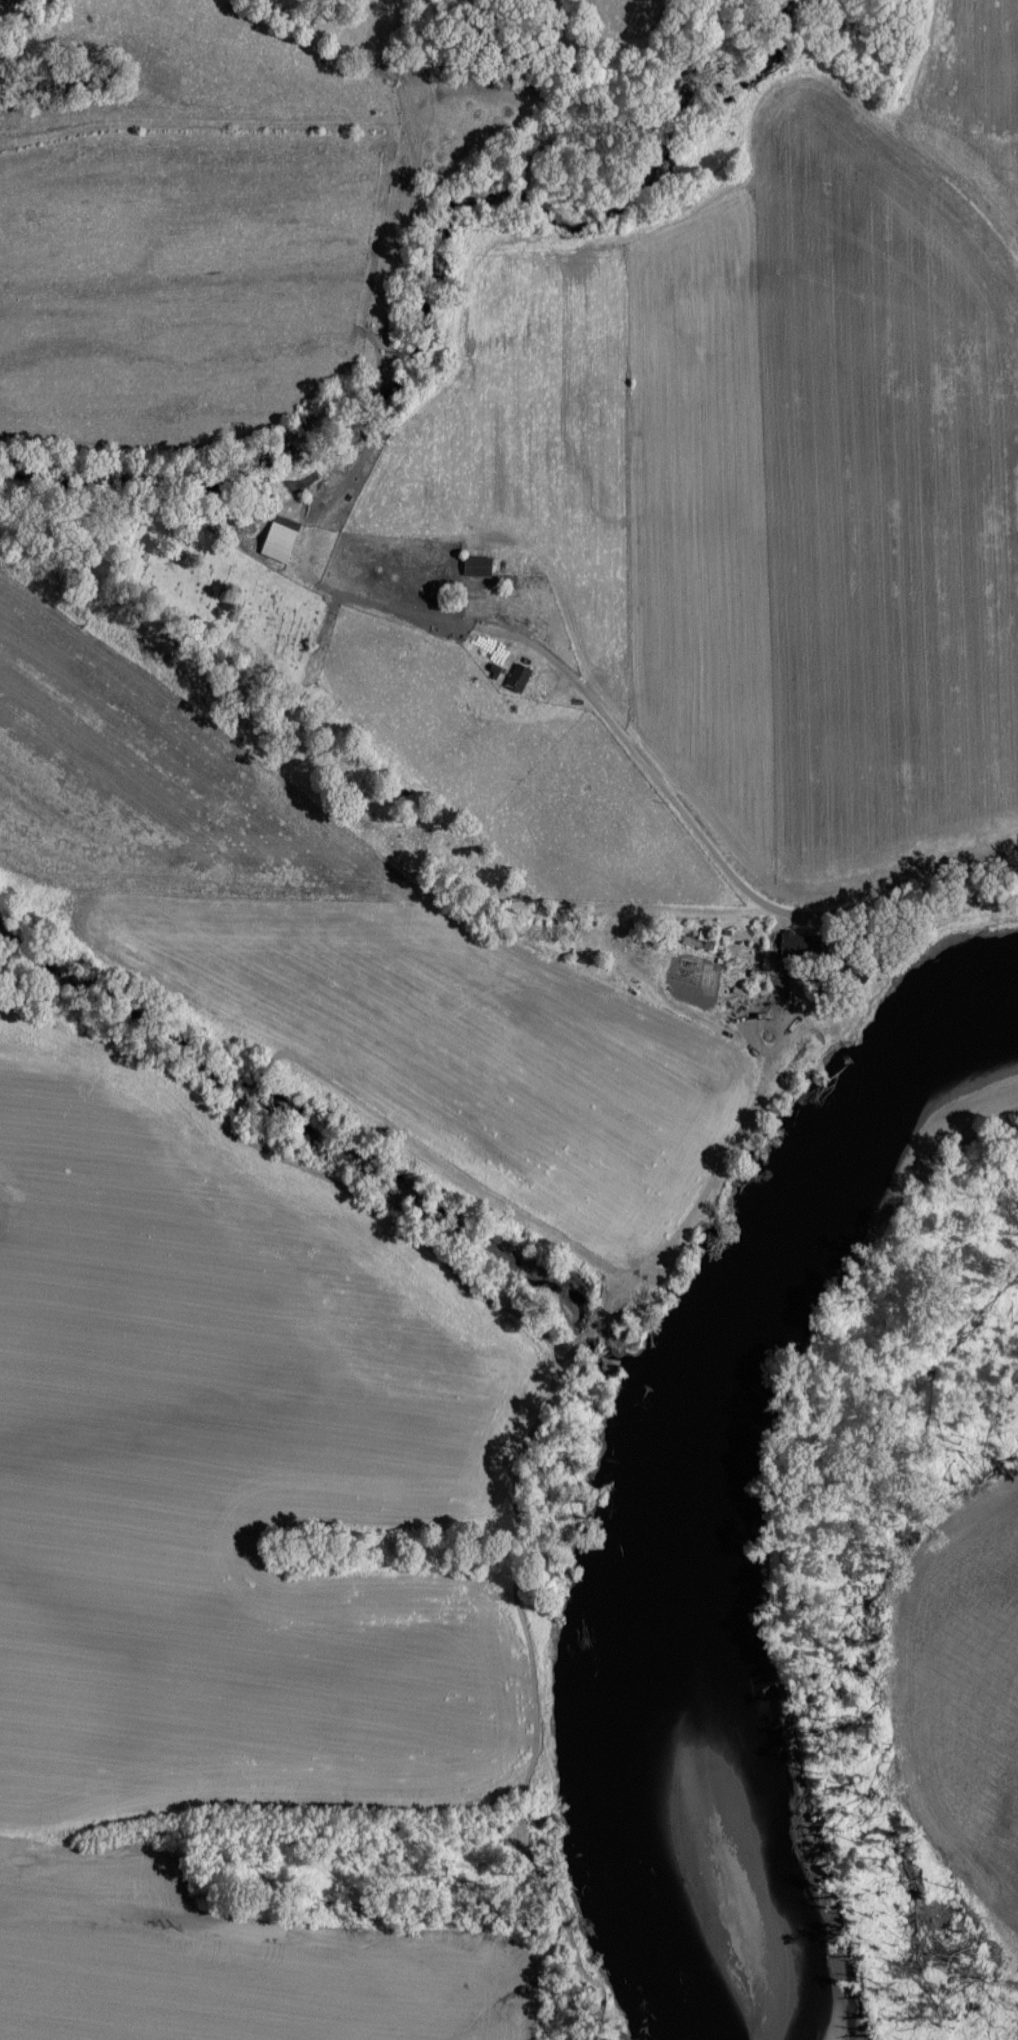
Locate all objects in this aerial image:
building: (279, 537)
building: (476, 565)
park: (217, 584)
building: (518, 677)
road: (747, 903)
building: (802, 941)
river: (685, 1483)

